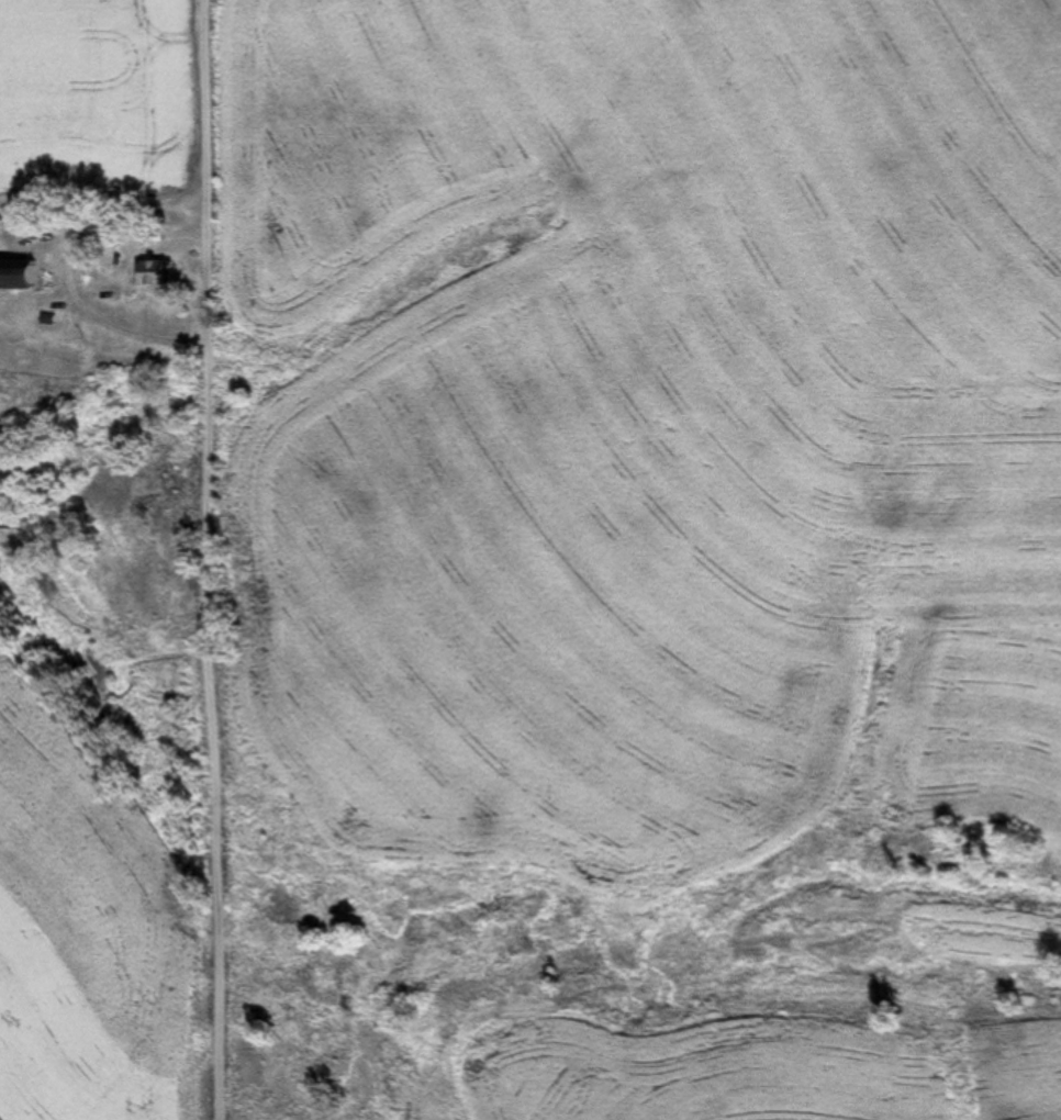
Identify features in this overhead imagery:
building: (153, 272)
building: (23, 275)
road: (193, 560)

